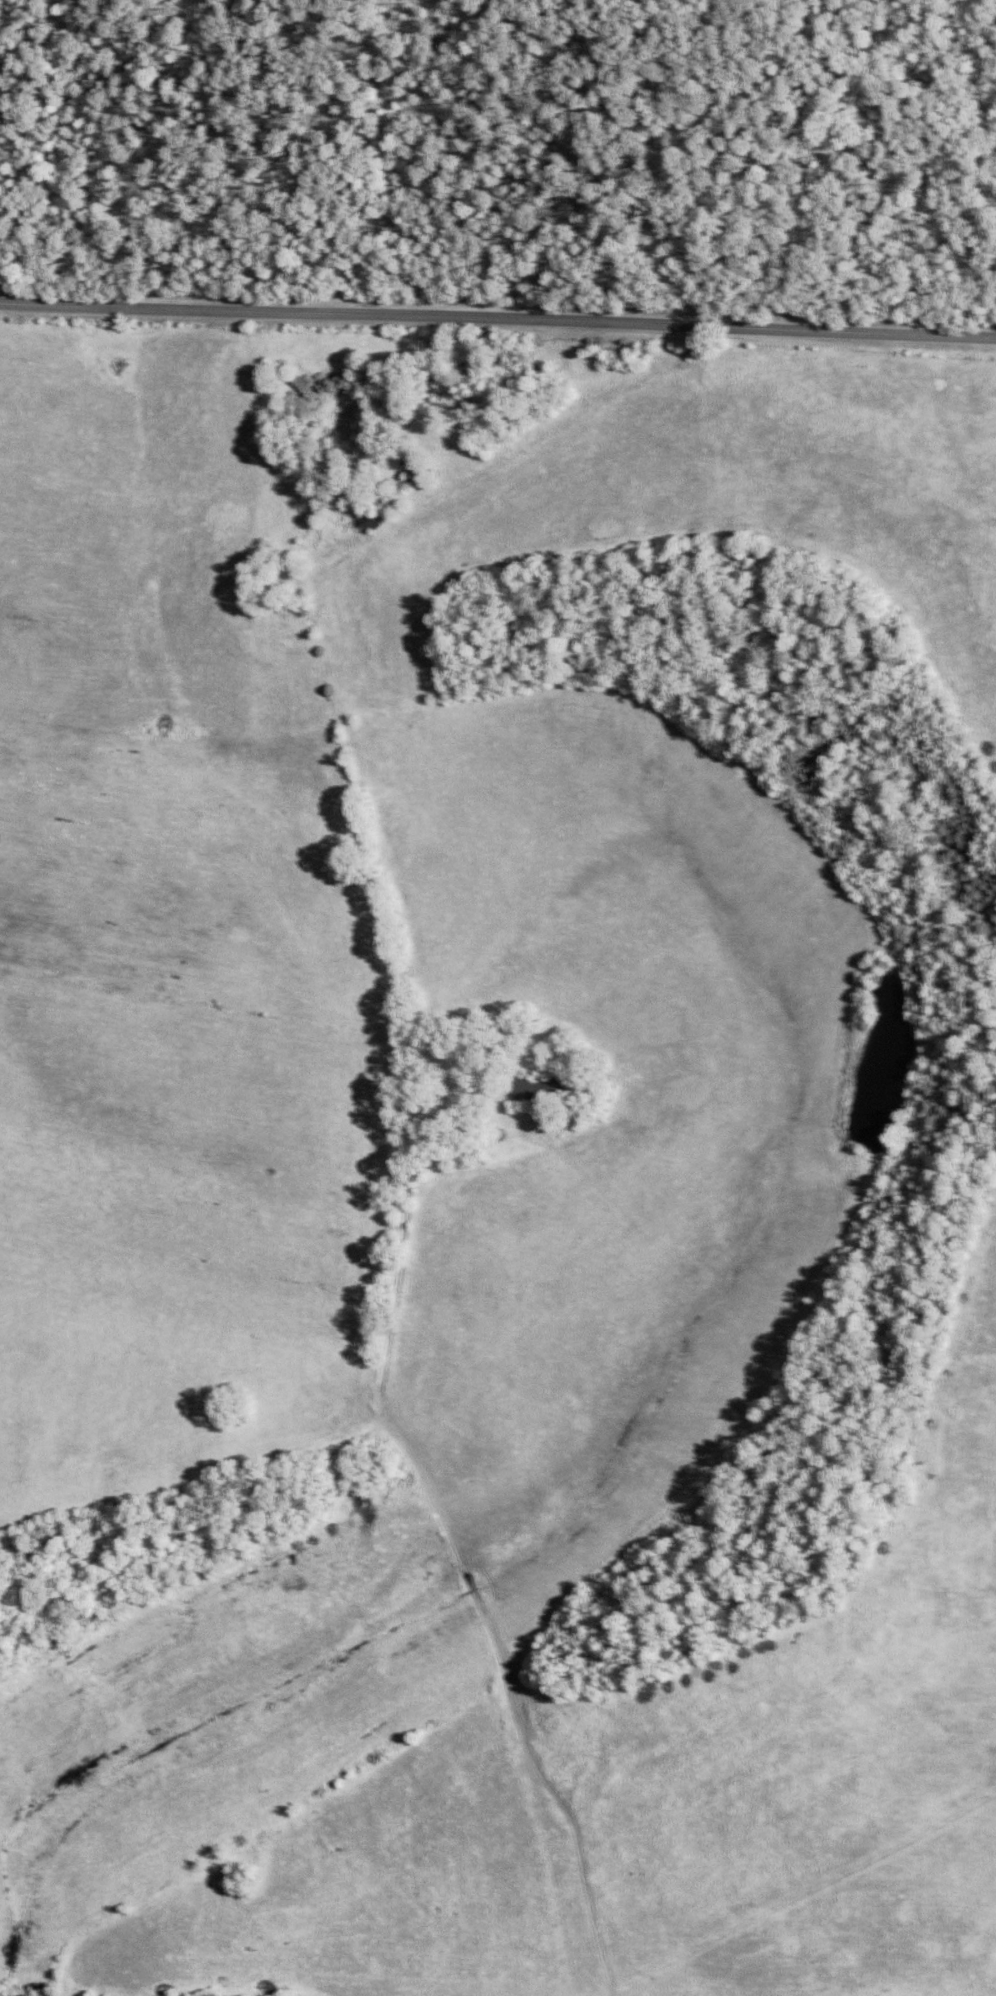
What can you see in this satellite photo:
park: (505, 158)
road: (498, 319)
building: (367, 526)
building: (541, 1096)

